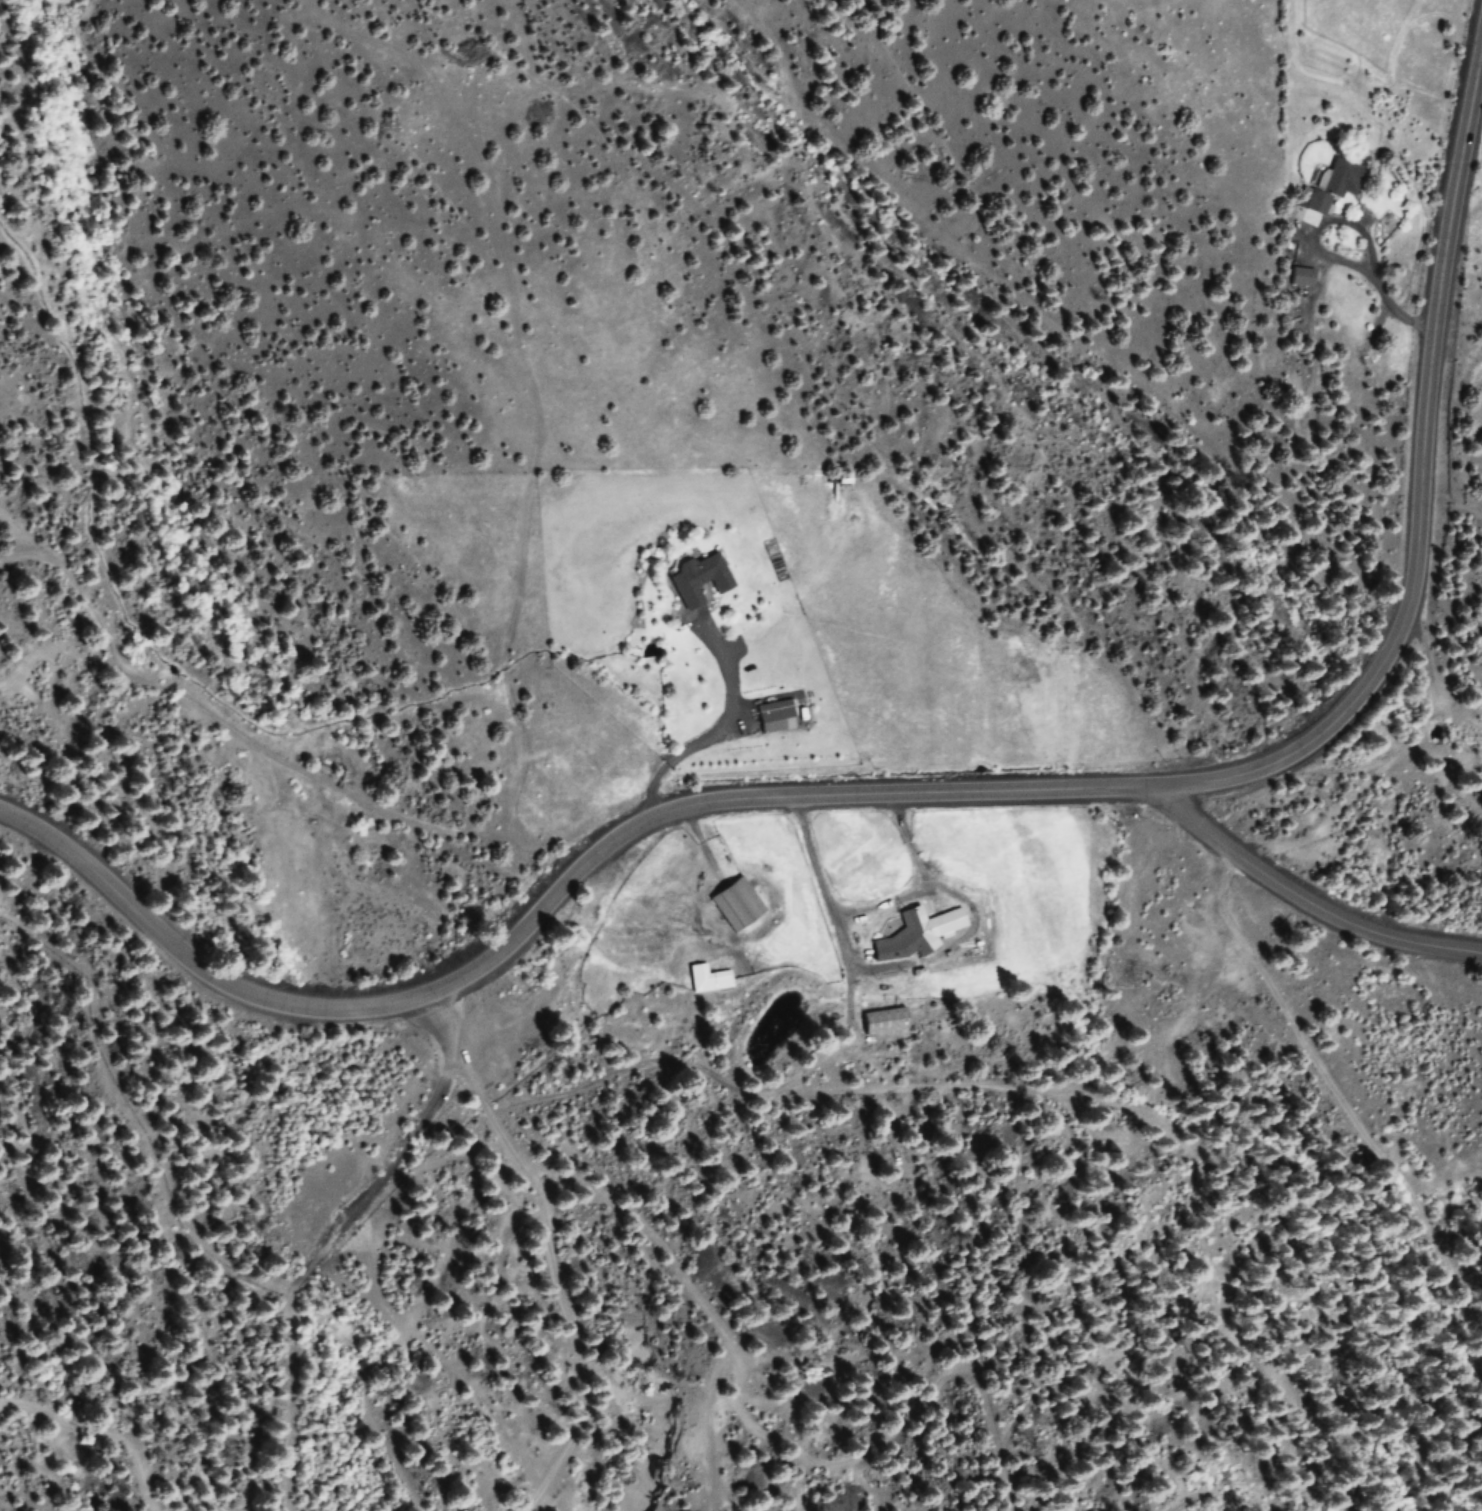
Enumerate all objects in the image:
building: (1333, 185)
building: (1300, 277)
road: (1373, 282)
building: (699, 579)
building: (775, 717)
road: (715, 734)
road: (950, 791)
road: (917, 882)
road: (1304, 899)
road: (827, 901)
building: (736, 904)
building: (916, 934)
building: (707, 979)
building: (884, 1021)

